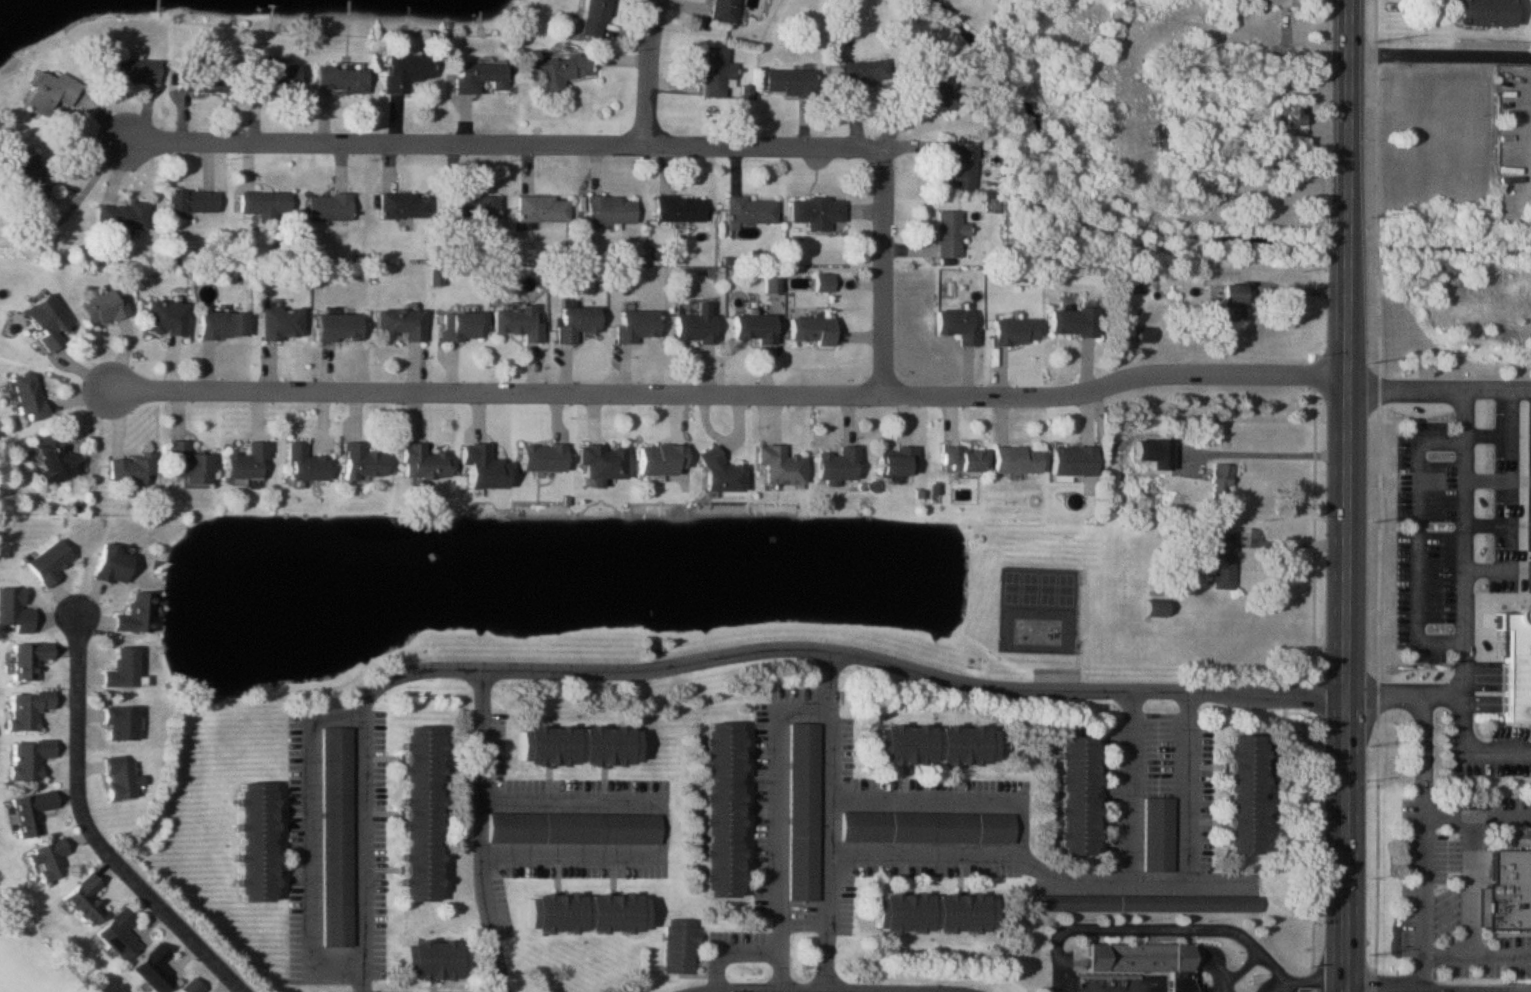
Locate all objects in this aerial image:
building: (1273, 2)
building: (722, 10)
building: (1480, 12)
building: (592, 18)
road: (1442, 59)
building: (133, 70)
building: (406, 70)
building: (558, 72)
building: (713, 72)
building: (861, 73)
road: (655, 75)
building: (477, 76)
building: (276, 78)
building: (344, 78)
building: (205, 80)
building: (788, 83)
building: (53, 91)
building: (938, 92)
road: (1353, 105)
building: (1288, 114)
road: (503, 147)
building: (961, 166)
building: (32, 177)
building: (195, 201)
building: (269, 205)
building: (404, 205)
building: (468, 206)
building: (333, 207)
building: (541, 208)
building: (677, 208)
building: (608, 209)
building: (749, 210)
building: (814, 212)
building: (126, 217)
building: (947, 234)
road: (864, 280)
building: (1229, 302)
building: (105, 307)
building: (168, 317)
building: (50, 322)
building: (515, 322)
building: (572, 322)
building: (1070, 322)
building: (285, 323)
building: (404, 324)
building: (226, 325)
building: (633, 325)
building: (460, 326)
building: (694, 326)
building: (954, 326)
building: (342, 328)
building: (751, 328)
building: (808, 330)
building: (1011, 332)
road: (732, 389)
road: (1440, 390)
building: (31, 397)
road: (1275, 452)
building: (1150, 453)
building: (539, 457)
building: (656, 459)
building: (957, 459)
building: (57, 460)
building: (1013, 460)
building: (599, 461)
building: (895, 461)
building: (1070, 461)
building: (367, 462)
building: (428, 463)
building: (191, 464)
building: (251, 464)
building: (308, 464)
building: (834, 464)
building: (776, 465)
building: (133, 470)
building: (716, 473)
road: (1514, 480)
building: (1218, 481)
road: (1297, 526)
road: (1421, 542)
road: (1460, 543)
building: (1219, 561)
building: (52, 563)
building: (117, 565)
road: (1495, 571)
park: (1039, 587)
road: (1349, 601)
building: (1153, 609)
building: (140, 614)
building: (31, 659)
building: (1515, 664)
building: (127, 669)
road: (916, 670)
road: (1458, 706)
building: (30, 709)
building: (124, 724)
building: (930, 744)
building: (337, 746)
building: (573, 746)
road: (1422, 754)
building: (31, 758)
building: (122, 779)
road: (364, 780)
road: (1131, 786)
road: (1187, 786)
building: (803, 790)
building: (1239, 795)
building: (1070, 796)
road: (950, 799)
building: (715, 811)
building: (34, 812)
road: (1476, 812)
building: (415, 815)
road: (830, 818)
road: (778, 821)
building: (572, 828)
building: (926, 828)
road: (663, 829)
road: (489, 830)
road: (92, 831)
building: (1157, 834)
building: (261, 843)
road: (313, 846)
building: (50, 860)
road: (1040, 872)
road: (1470, 883)
building: (1507, 889)
building: (88, 899)
building: (1146, 903)
building: (581, 914)
building: (928, 914)
road: (1159, 928)
building: (122, 934)
road: (1420, 939)
building: (677, 946)
building: (1142, 959)
building: (428, 960)
park: (35, 961)
building: (156, 969)
road: (1410, 973)
building: (194, 986)
road: (824, 986)
road: (801, 989)
road: (899, 989)
road: (682, 991)
road: (1306, 991)

